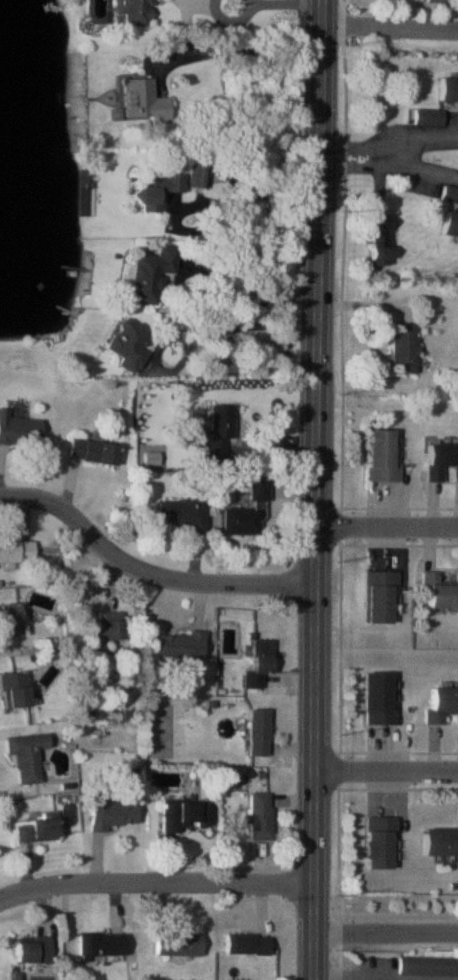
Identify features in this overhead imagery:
building: (432, 2)
road: (279, 3)
building: (130, 12)
road: (389, 28)
road: (246, 47)
building: (447, 90)
building: (137, 101)
building: (425, 117)
road: (418, 140)
road: (379, 155)
road: (329, 156)
road: (419, 165)
building: (196, 176)
building: (150, 190)
road: (258, 192)
building: (449, 225)
building: (376, 253)
building: (146, 274)
road: (261, 294)
road: (225, 329)
building: (126, 343)
building: (401, 349)
building: (17, 426)
building: (218, 432)
building: (89, 451)
building: (378, 458)
building: (439, 461)
building: (256, 489)
road: (319, 490)
building: (178, 514)
building: (237, 521)
road: (389, 525)
building: (15, 549)
road: (149, 570)
building: (438, 591)
building: (377, 595)
building: (8, 620)
building: (102, 631)
building: (178, 646)
building: (258, 660)
building: (11, 689)
building: (375, 697)
building: (441, 703)
building: (256, 732)
building: (24, 756)
road: (388, 772)
building: (111, 815)
building: (182, 815)
building: (259, 817)
building: (35, 829)
building: (376, 842)
building: (439, 842)
road: (161, 881)
road: (4, 901)
road: (388, 930)
building: (177, 943)
building: (245, 943)
building: (98, 945)
building: (29, 950)
building: (427, 966)
road: (358, 974)

